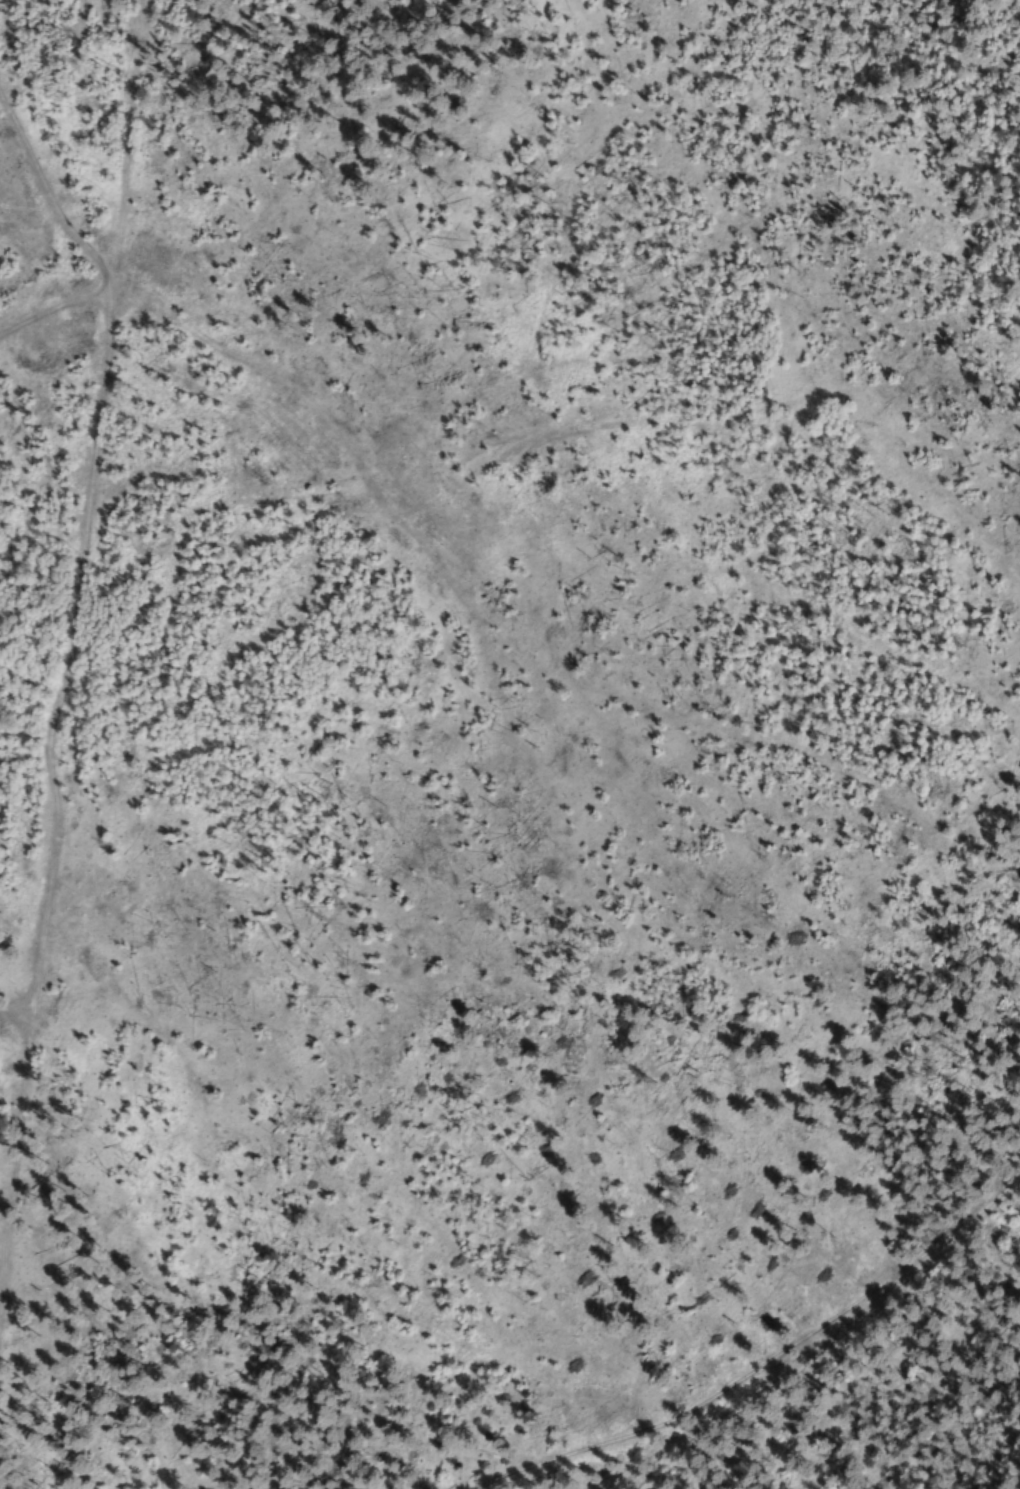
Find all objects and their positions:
road: (56, 315)
road: (57, 684)
road: (818, 1343)

